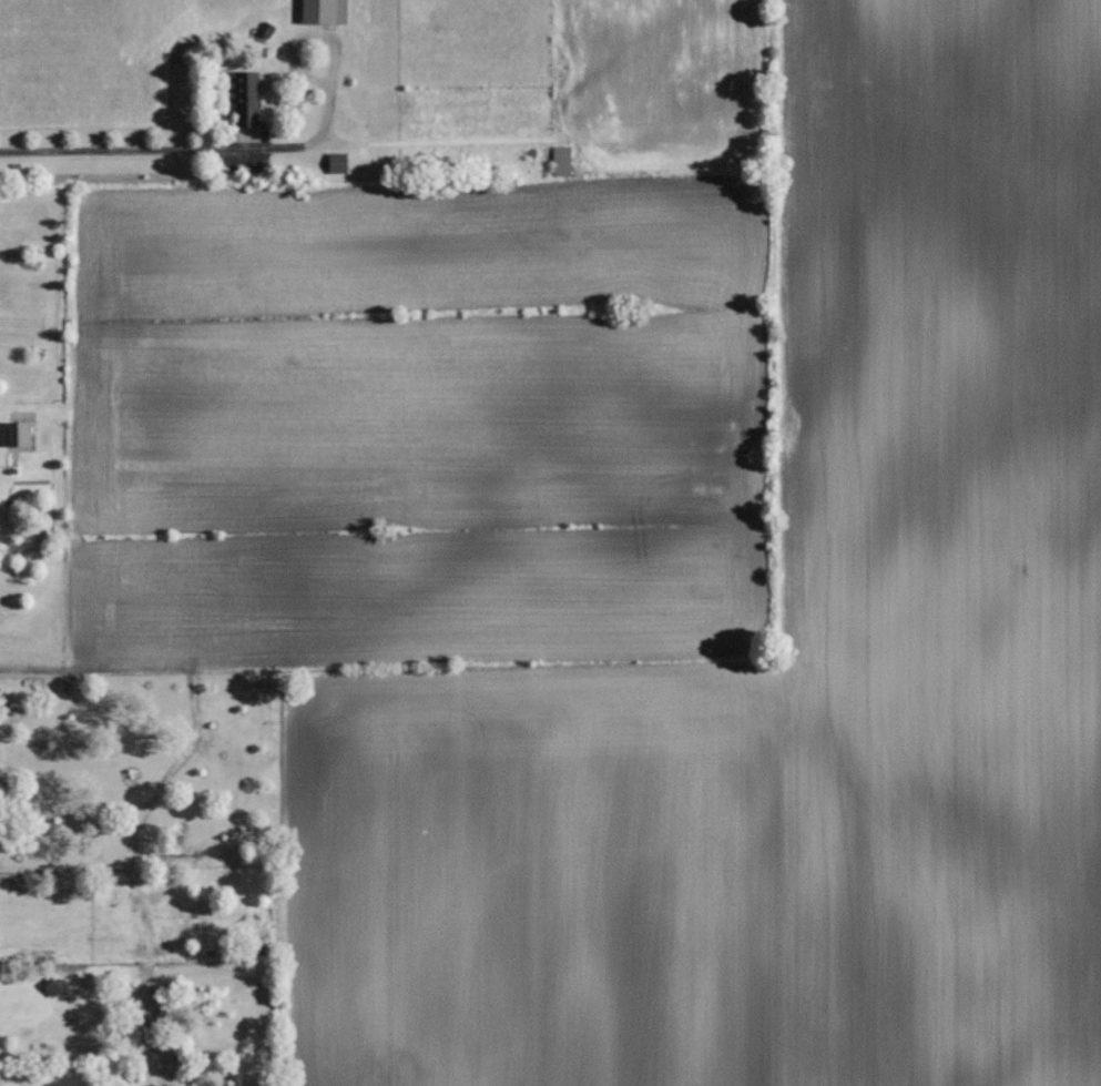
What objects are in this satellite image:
building: (325, 11)
building: (247, 94)
road: (114, 151)
building: (561, 161)
building: (338, 162)
building: (19, 434)

